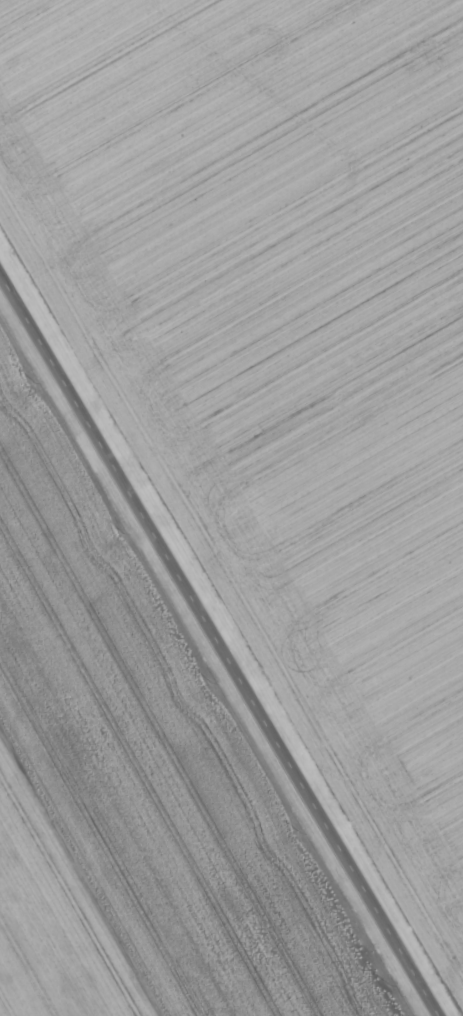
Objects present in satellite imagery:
road: (219, 645)

